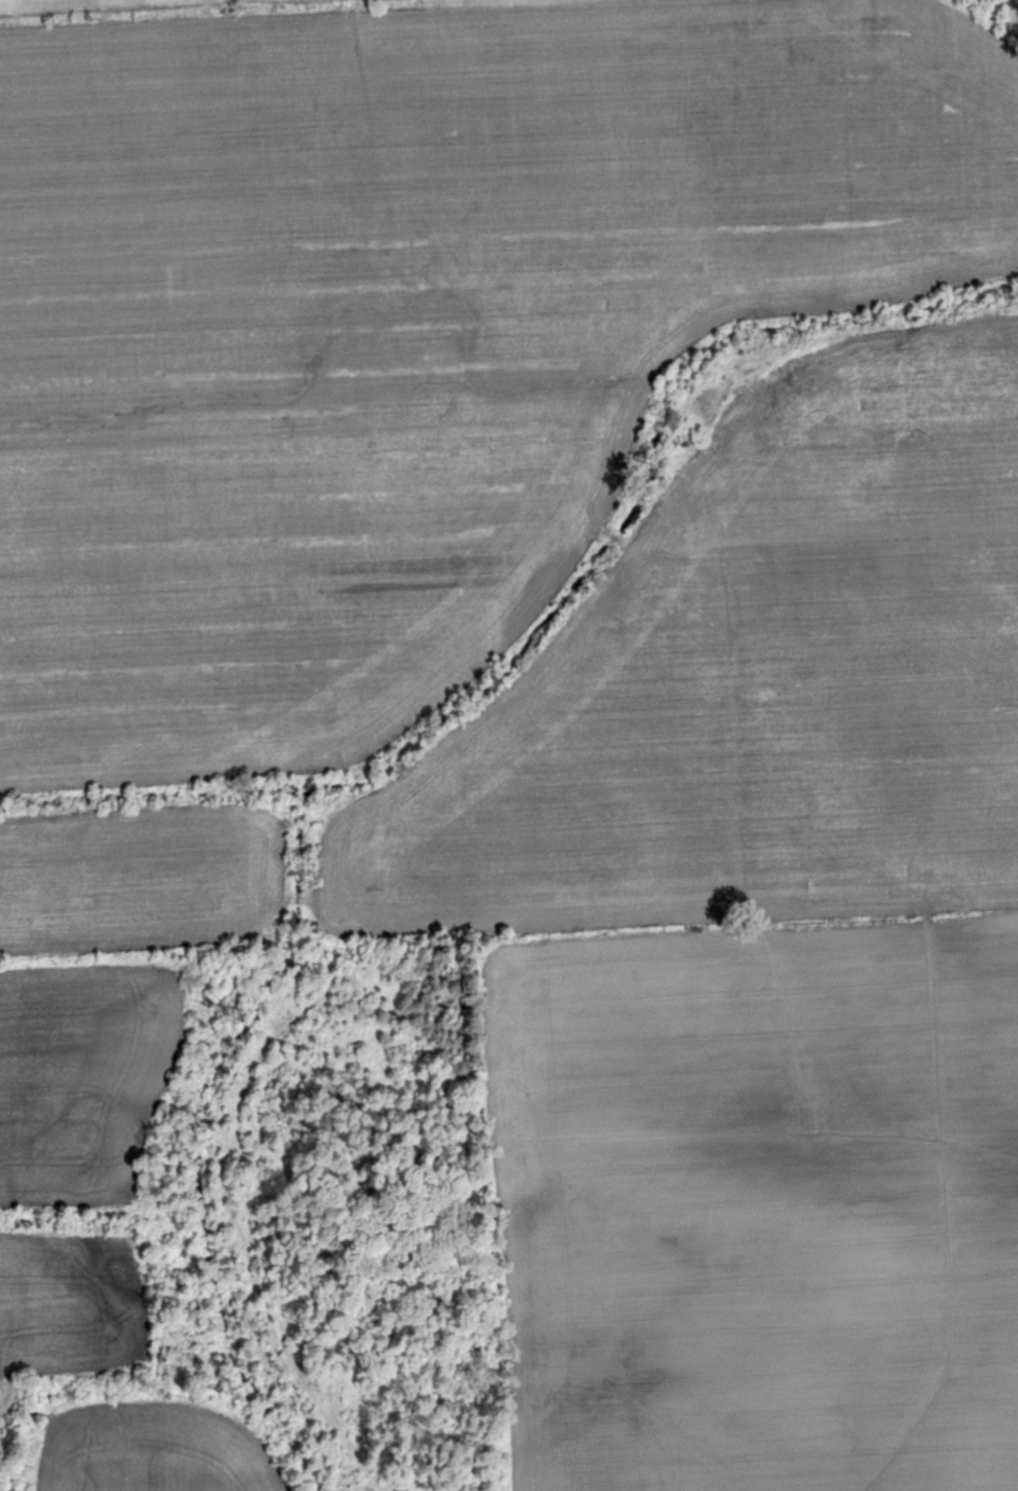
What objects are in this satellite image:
crop: (397, 317)

